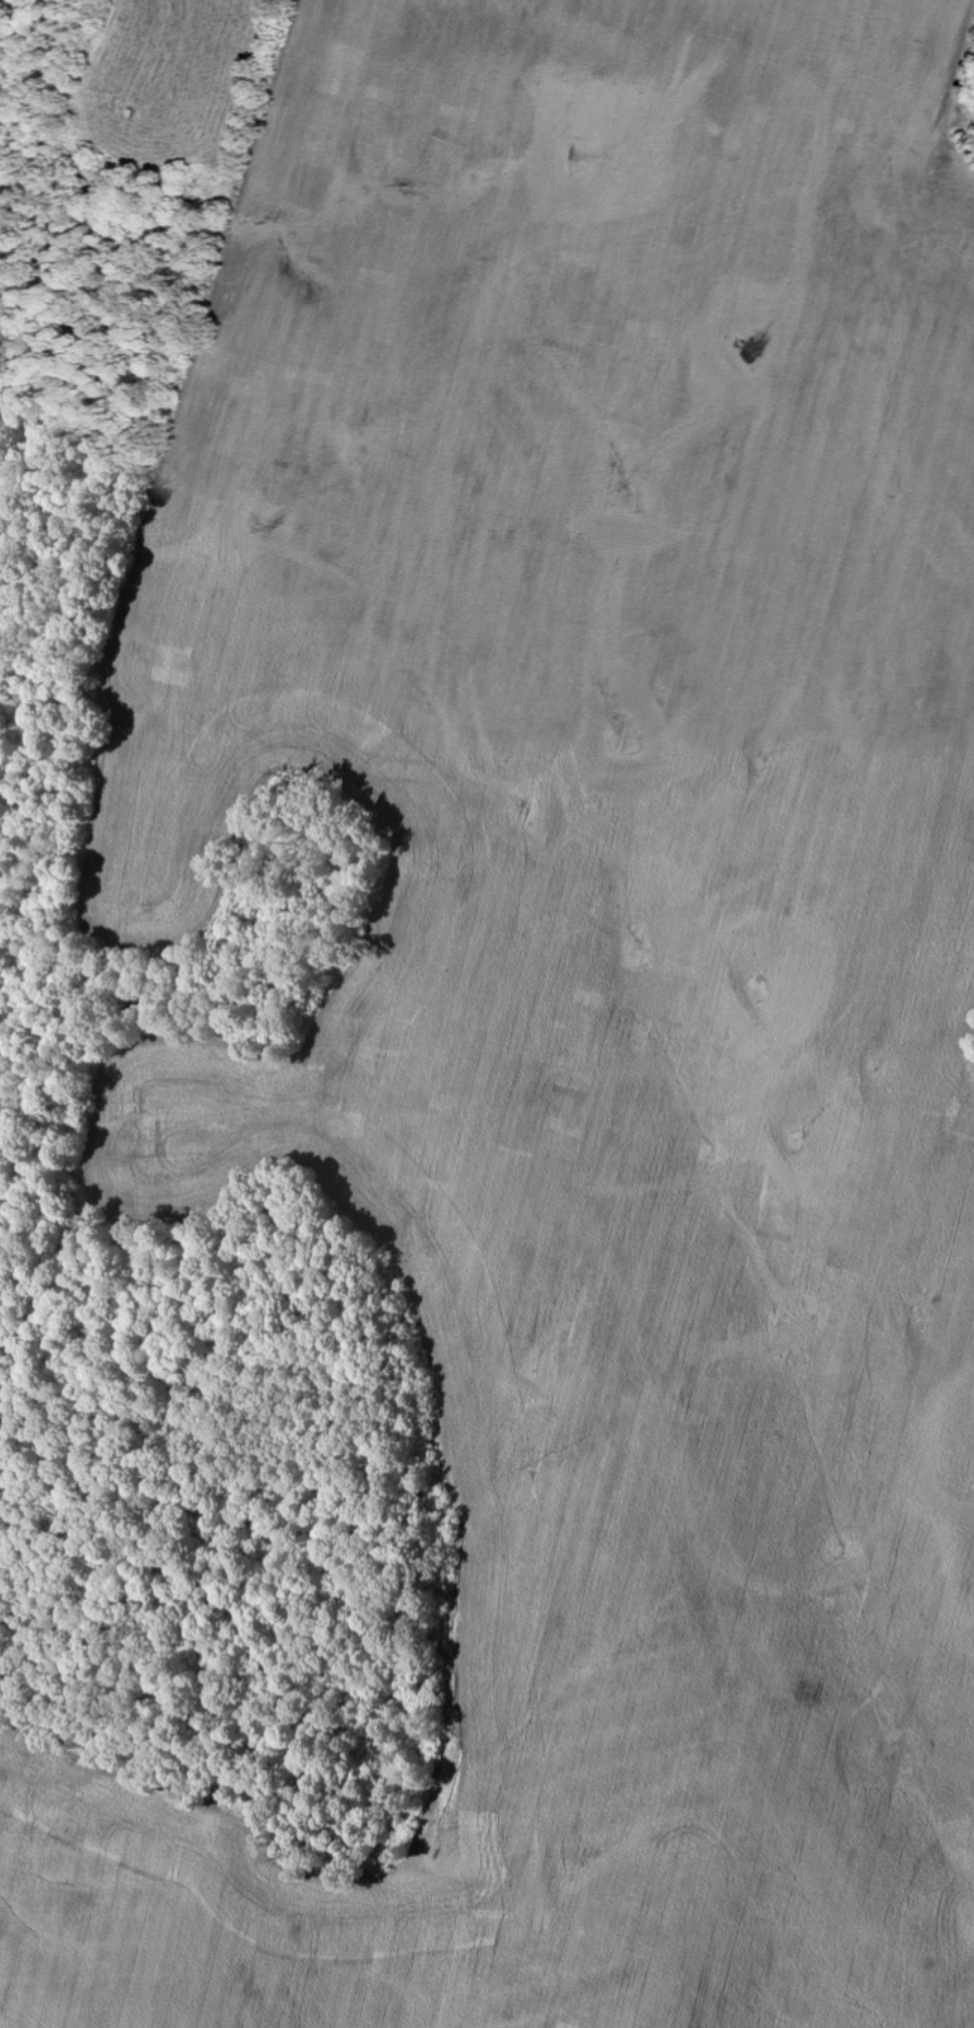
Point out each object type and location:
road: (948, 109)

